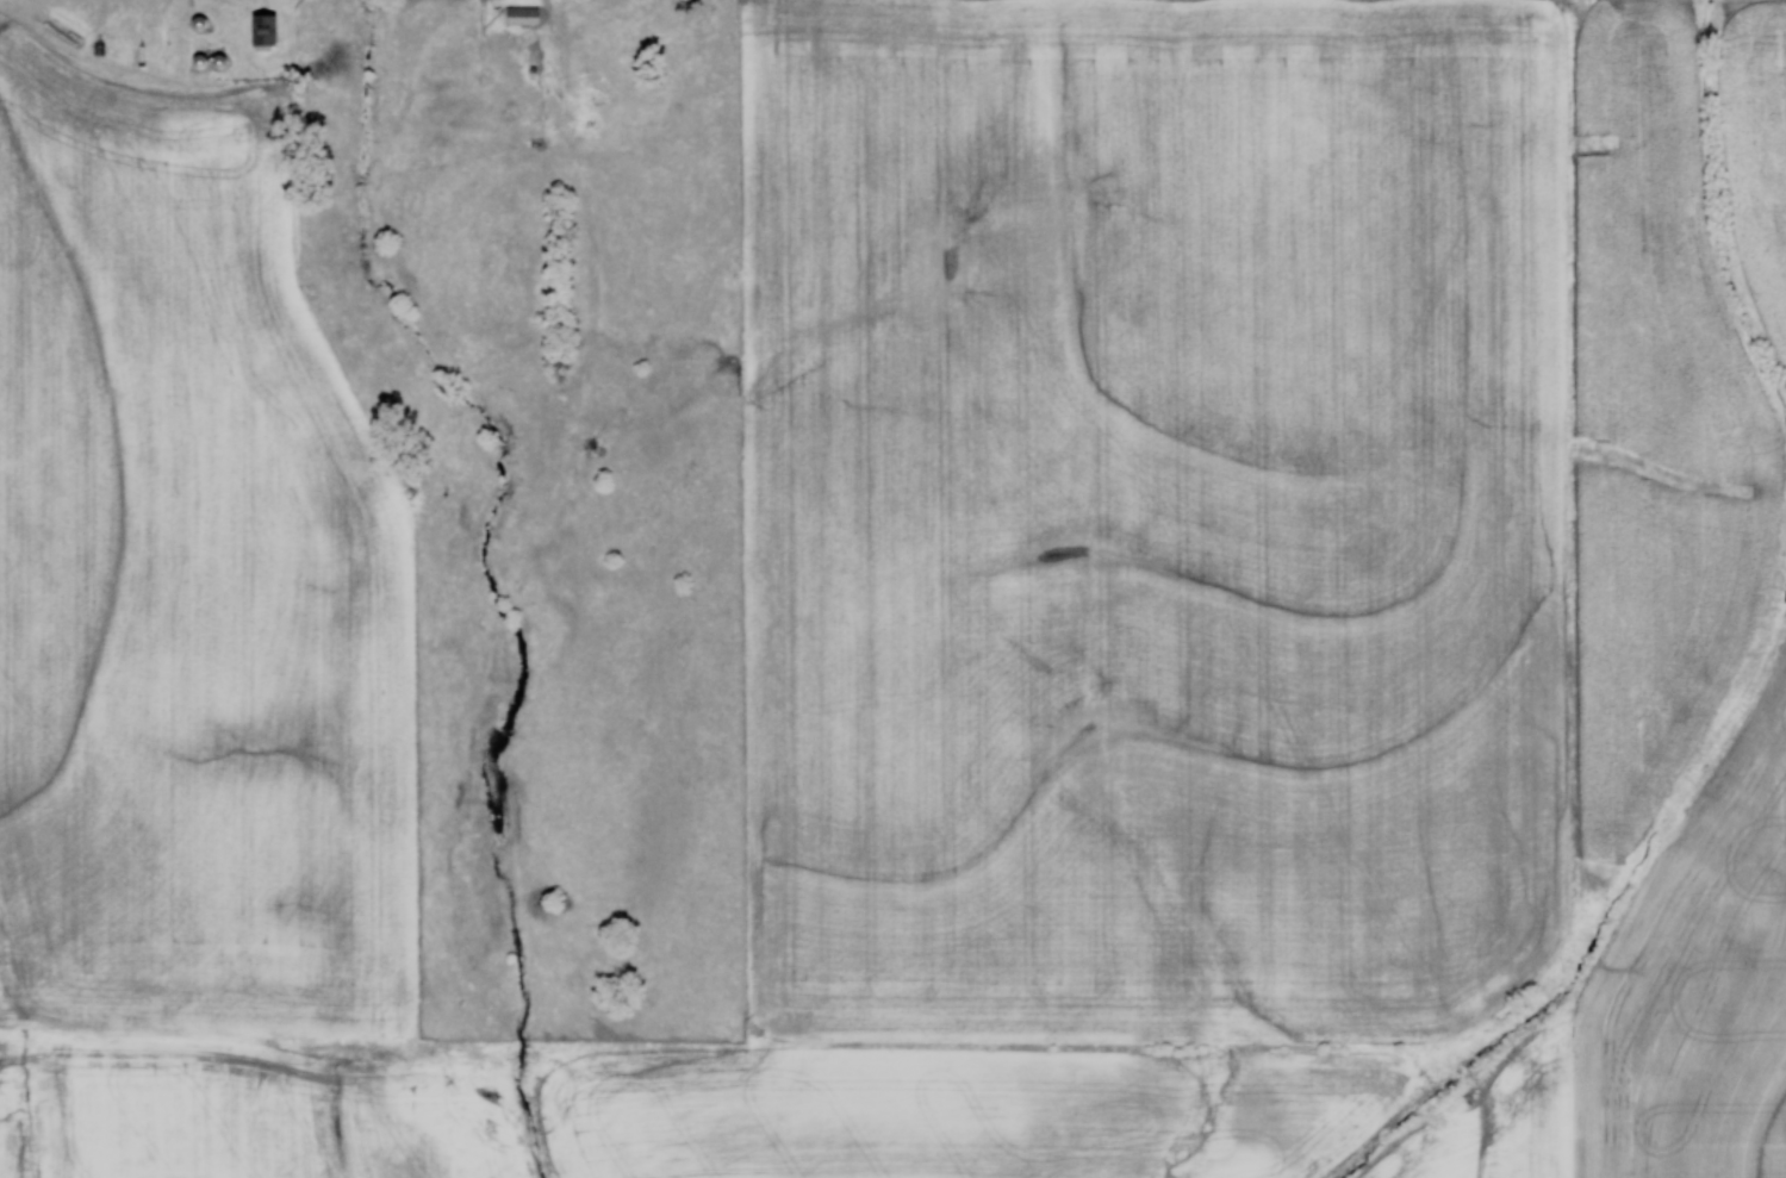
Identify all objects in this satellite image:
building: (519, 13)
building: (260, 26)

